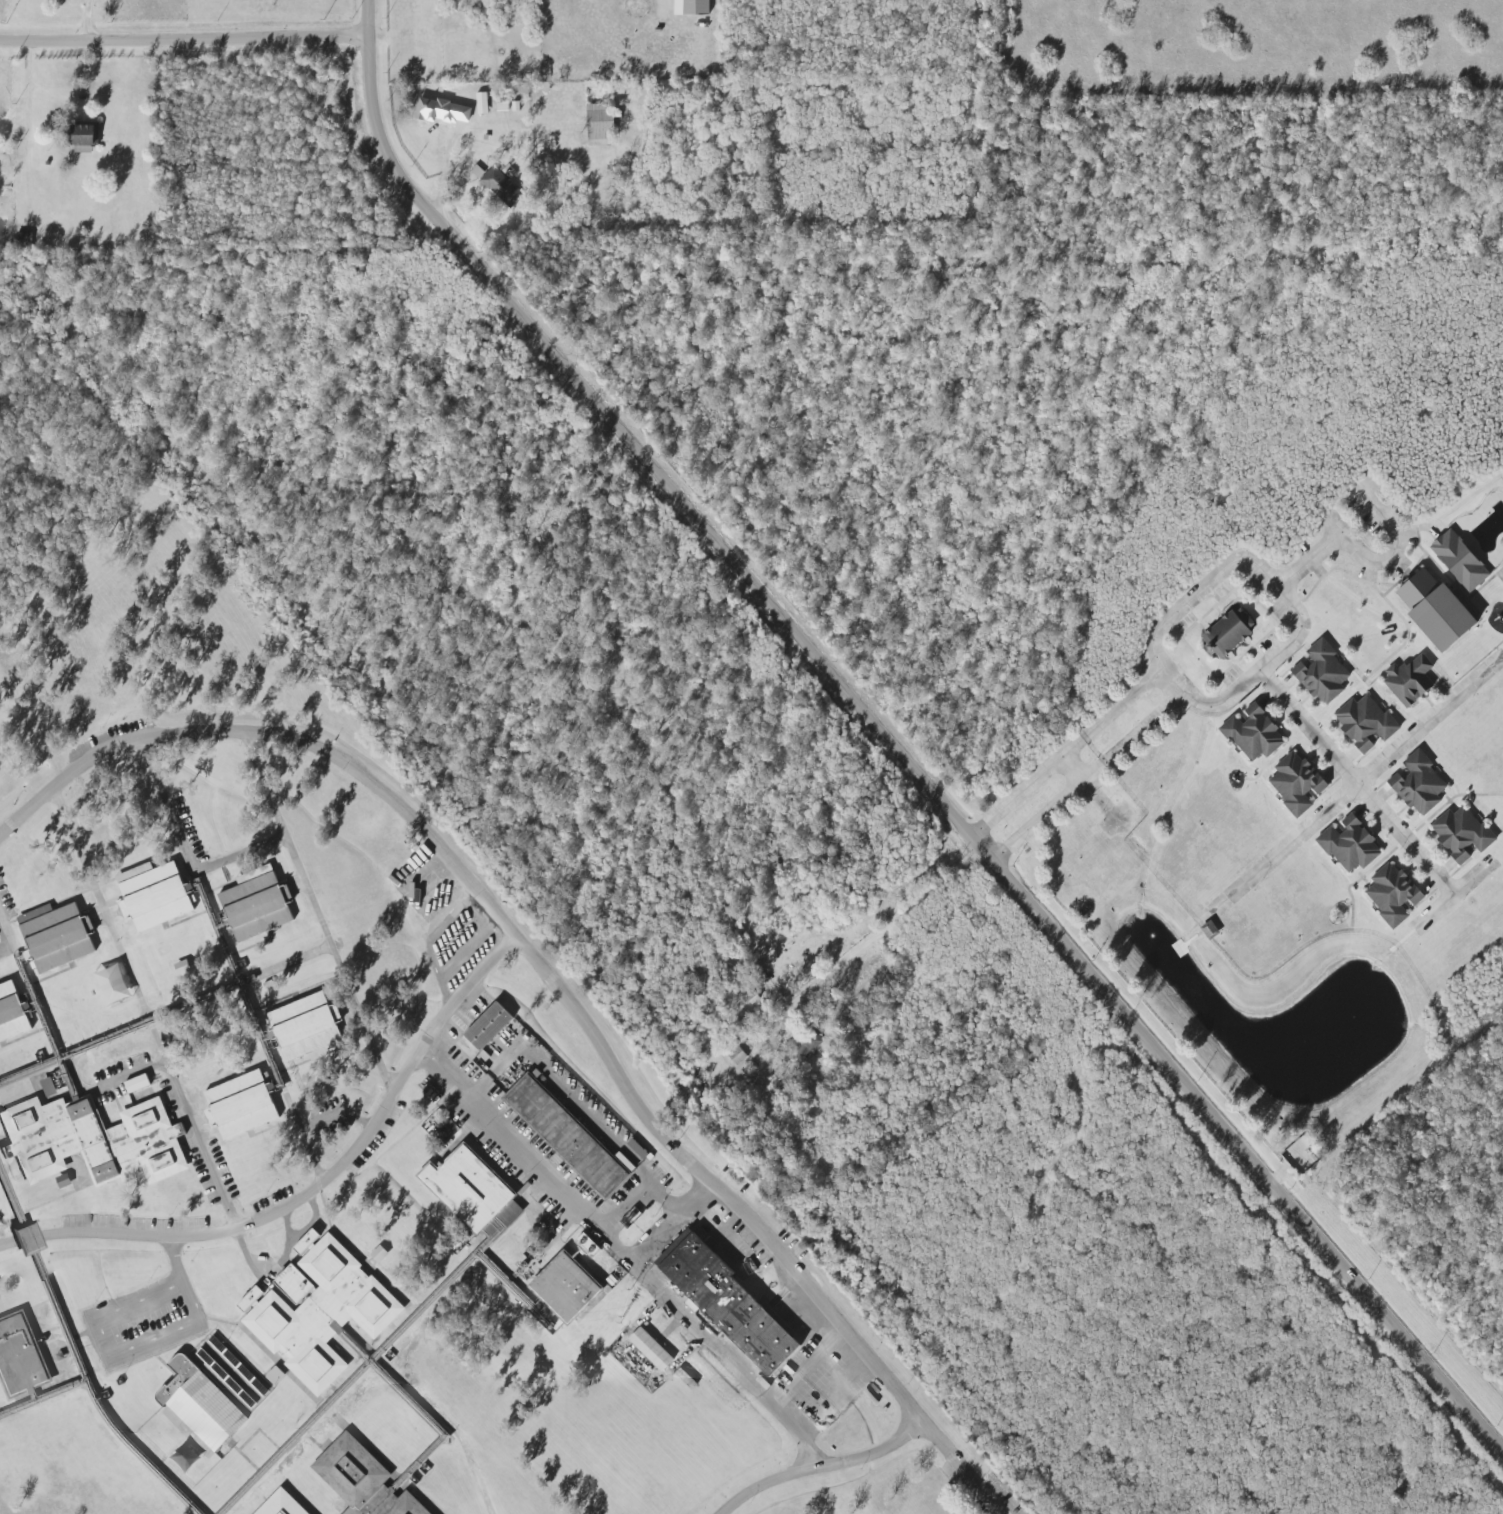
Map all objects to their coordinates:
building: (691, 7)
road: (188, 36)
building: (482, 103)
building: (442, 111)
building: (601, 124)
building: (84, 136)
building: (502, 185)
road: (1359, 555)
building: (1459, 561)
road: (1227, 567)
building: (1437, 606)
building: (1229, 632)
building: (1321, 670)
building: (1409, 678)
building: (1365, 721)
road: (1416, 732)
building: (1254, 734)
road: (896, 739)
road: (1319, 739)
road: (1067, 753)
road: (1087, 776)
building: (1296, 783)
building: (1419, 784)
building: (1461, 833)
road: (1287, 845)
building: (1350, 845)
road: (243, 851)
building: (1392, 894)
building: (153, 895)
building: (257, 904)
road: (323, 909)
road: (898, 923)
building: (57, 936)
road: (9, 955)
road: (232, 957)
building: (182, 967)
road: (554, 978)
road: (30, 983)
building: (753, 998)
building: (12, 1013)
road: (169, 1016)
building: (488, 1026)
building: (307, 1028)
road: (159, 1030)
building: (801, 1046)
building: (137, 1084)
building: (48, 1087)
road: (564, 1093)
building: (240, 1105)
building: (568, 1137)
building: (94, 1141)
building: (63, 1181)
road: (314, 1189)
road: (642, 1190)
building: (473, 1193)
road: (678, 1221)
building: (378, 1253)
road: (647, 1265)
road: (182, 1275)
building: (566, 1287)
building: (251, 1299)
building: (728, 1300)
building: (320, 1310)
road: (101, 1339)
road: (388, 1349)
building: (651, 1349)
building: (20, 1354)
road: (77, 1355)
road: (812, 1362)
building: (276, 1375)
road: (390, 1385)
road: (44, 1400)
building: (201, 1404)
road: (807, 1445)
road: (825, 1468)
building: (362, 1480)
building: (281, 1504)

